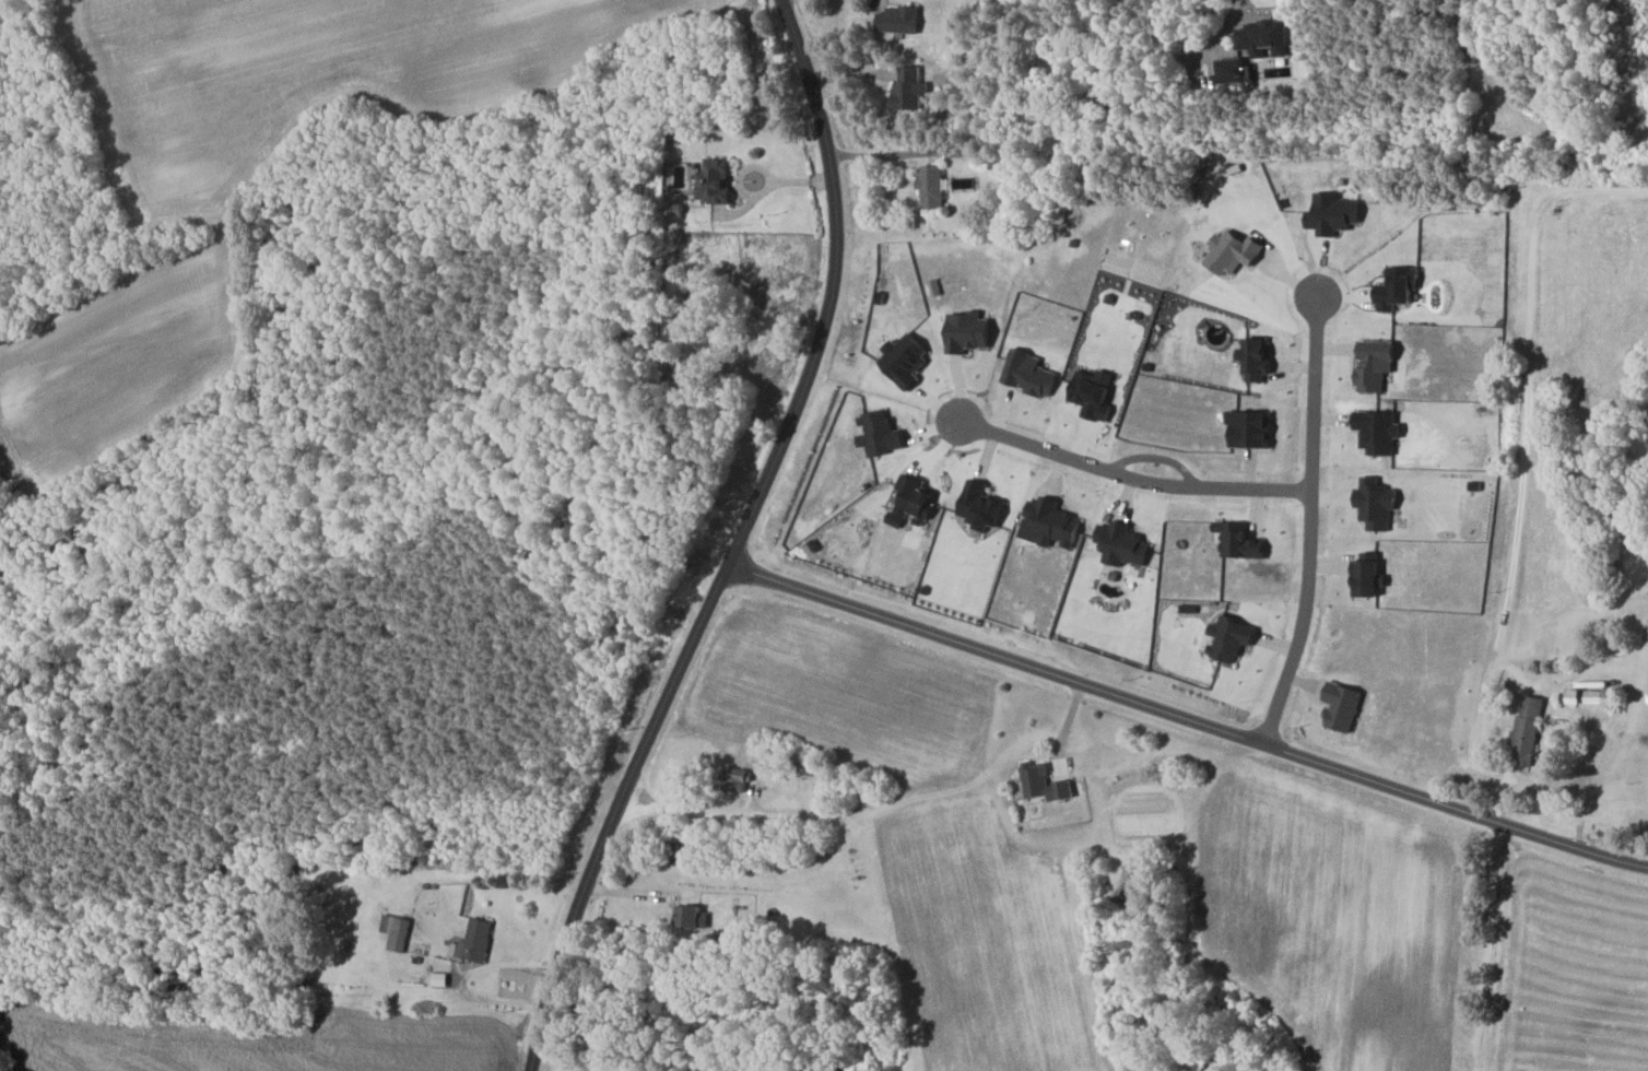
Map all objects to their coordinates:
road: (1435, 10)
building: (899, 20)
building: (1266, 37)
road: (1221, 38)
building: (1235, 70)
building: (910, 87)
road: (880, 155)
building: (716, 181)
road: (773, 184)
building: (933, 186)
building: (1335, 213)
building: (1235, 252)
building: (1399, 289)
building: (970, 332)
building: (907, 358)
building: (1260, 358)
building: (1377, 364)
building: (1032, 374)
building: (1095, 396)
building: (1252, 428)
building: (1380, 432)
building: (883, 434)
road: (1522, 459)
road: (1133, 474)
building: (917, 499)
building: (1378, 504)
building: (985, 506)
road: (1310, 521)
building: (1056, 522)
building: (1243, 541)
road: (737, 542)
building: (1126, 545)
building: (1369, 576)
building: (1234, 638)
building: (1592, 694)
building: (1344, 706)
road: (1187, 719)
building: (1529, 730)
building: (739, 779)
building: (1047, 784)
road: (875, 803)
building: (695, 918)
building: (399, 932)
building: (442, 979)
road: (461, 979)

